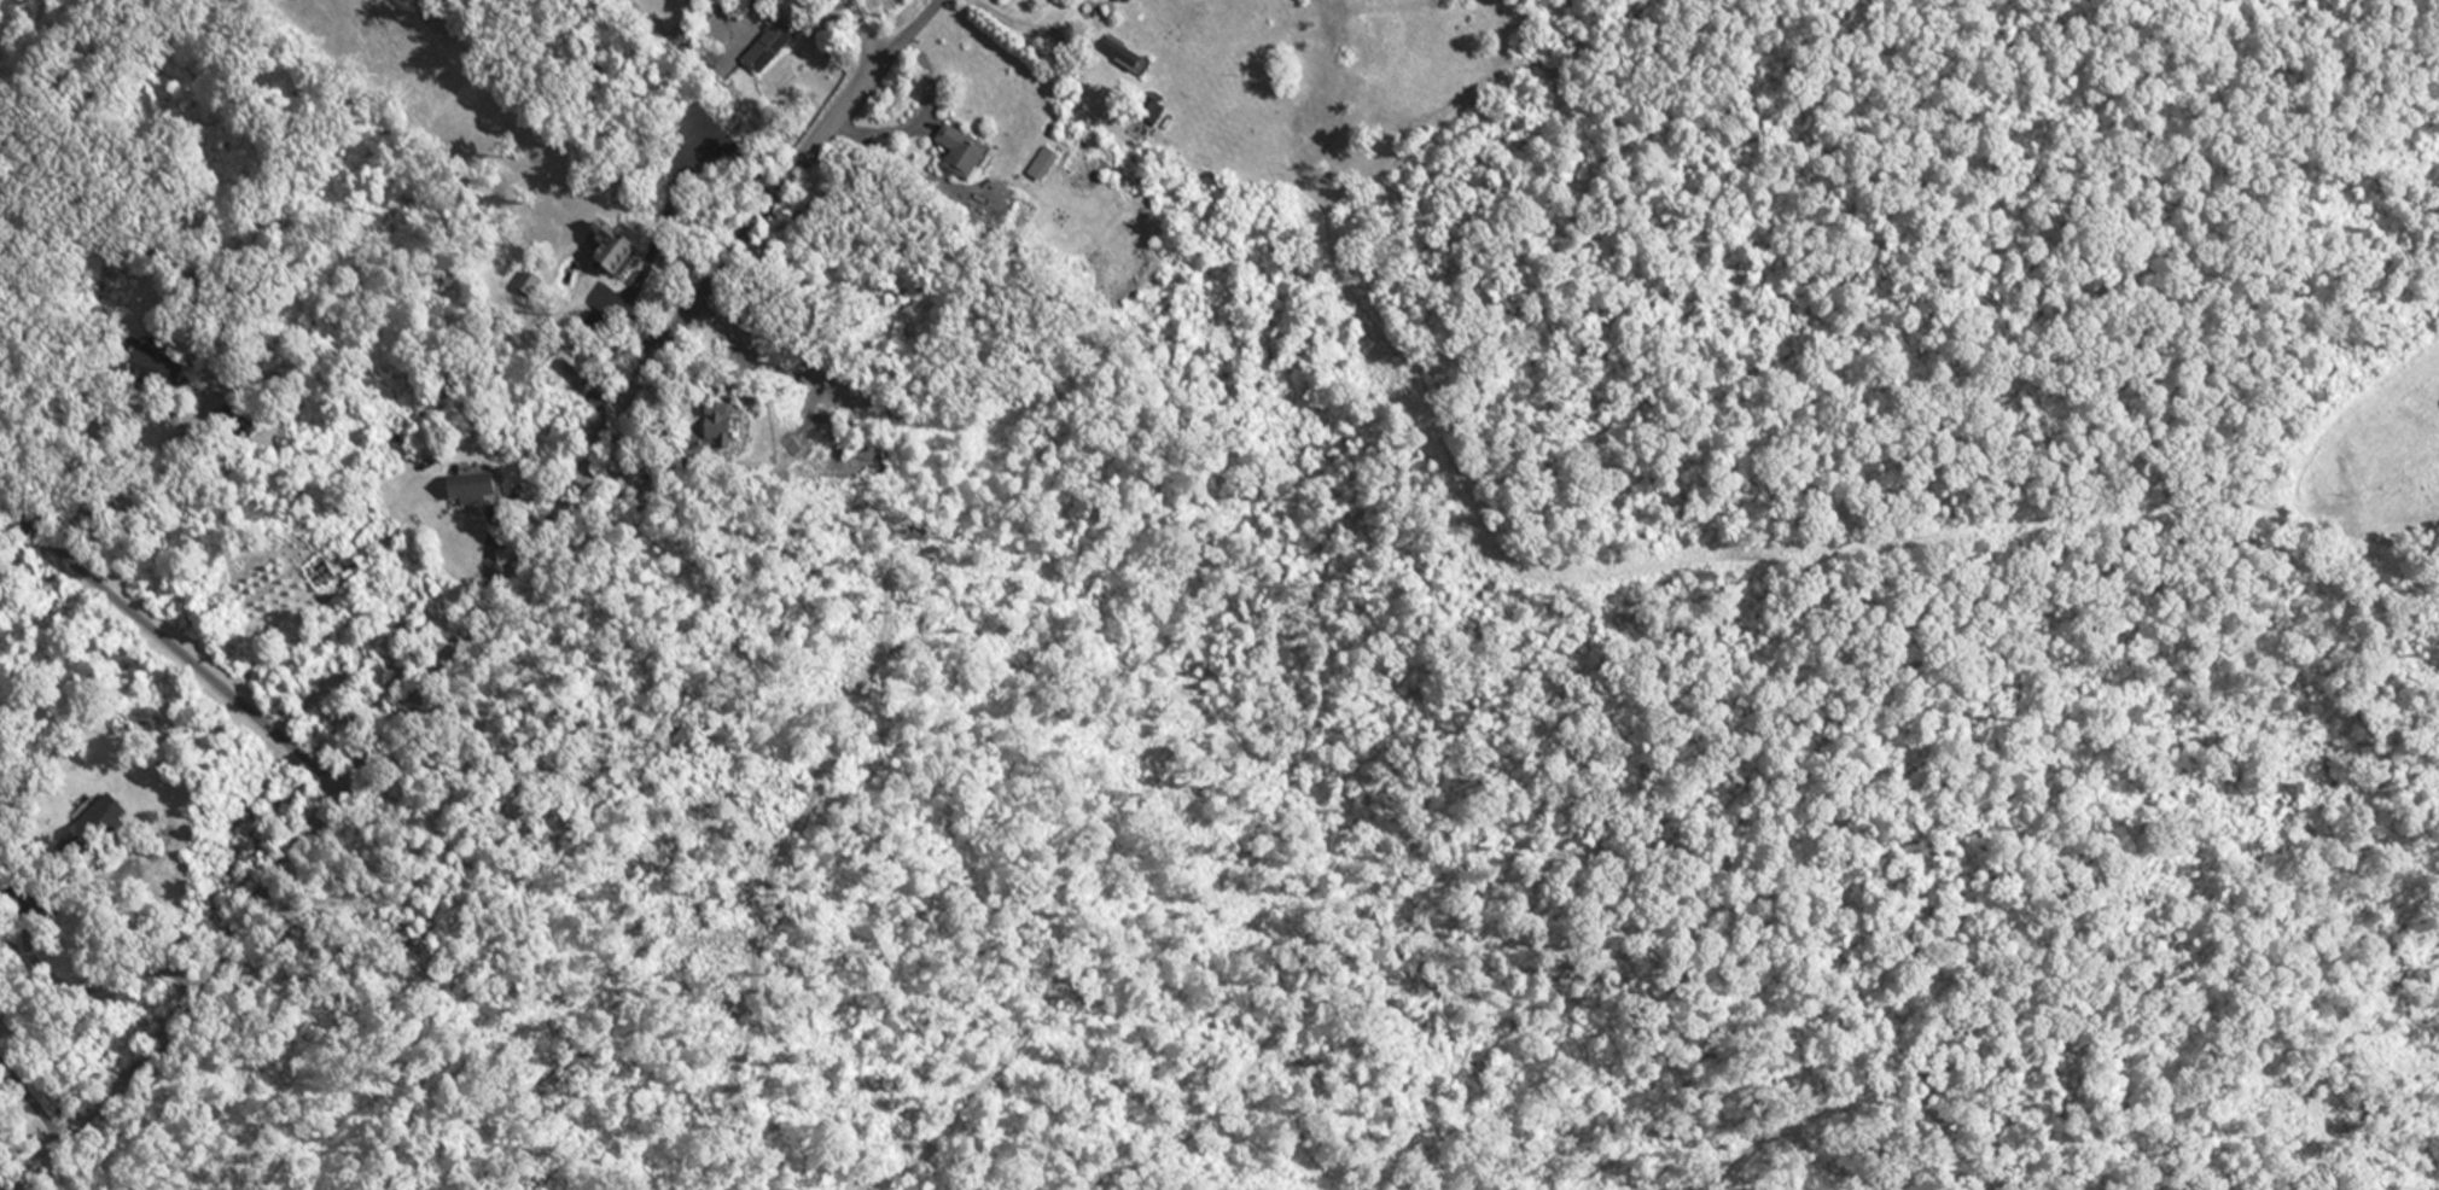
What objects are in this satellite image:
building: (1143, 1)
road: (867, 33)
building: (782, 48)
building: (977, 154)
building: (1056, 167)
building: (630, 250)
road: (739, 256)
road: (135, 474)
building: (487, 489)
road: (16, 537)
road: (136, 616)
road: (308, 759)
building: (109, 821)
road: (284, 857)
road: (56, 979)
road: (31, 1102)

